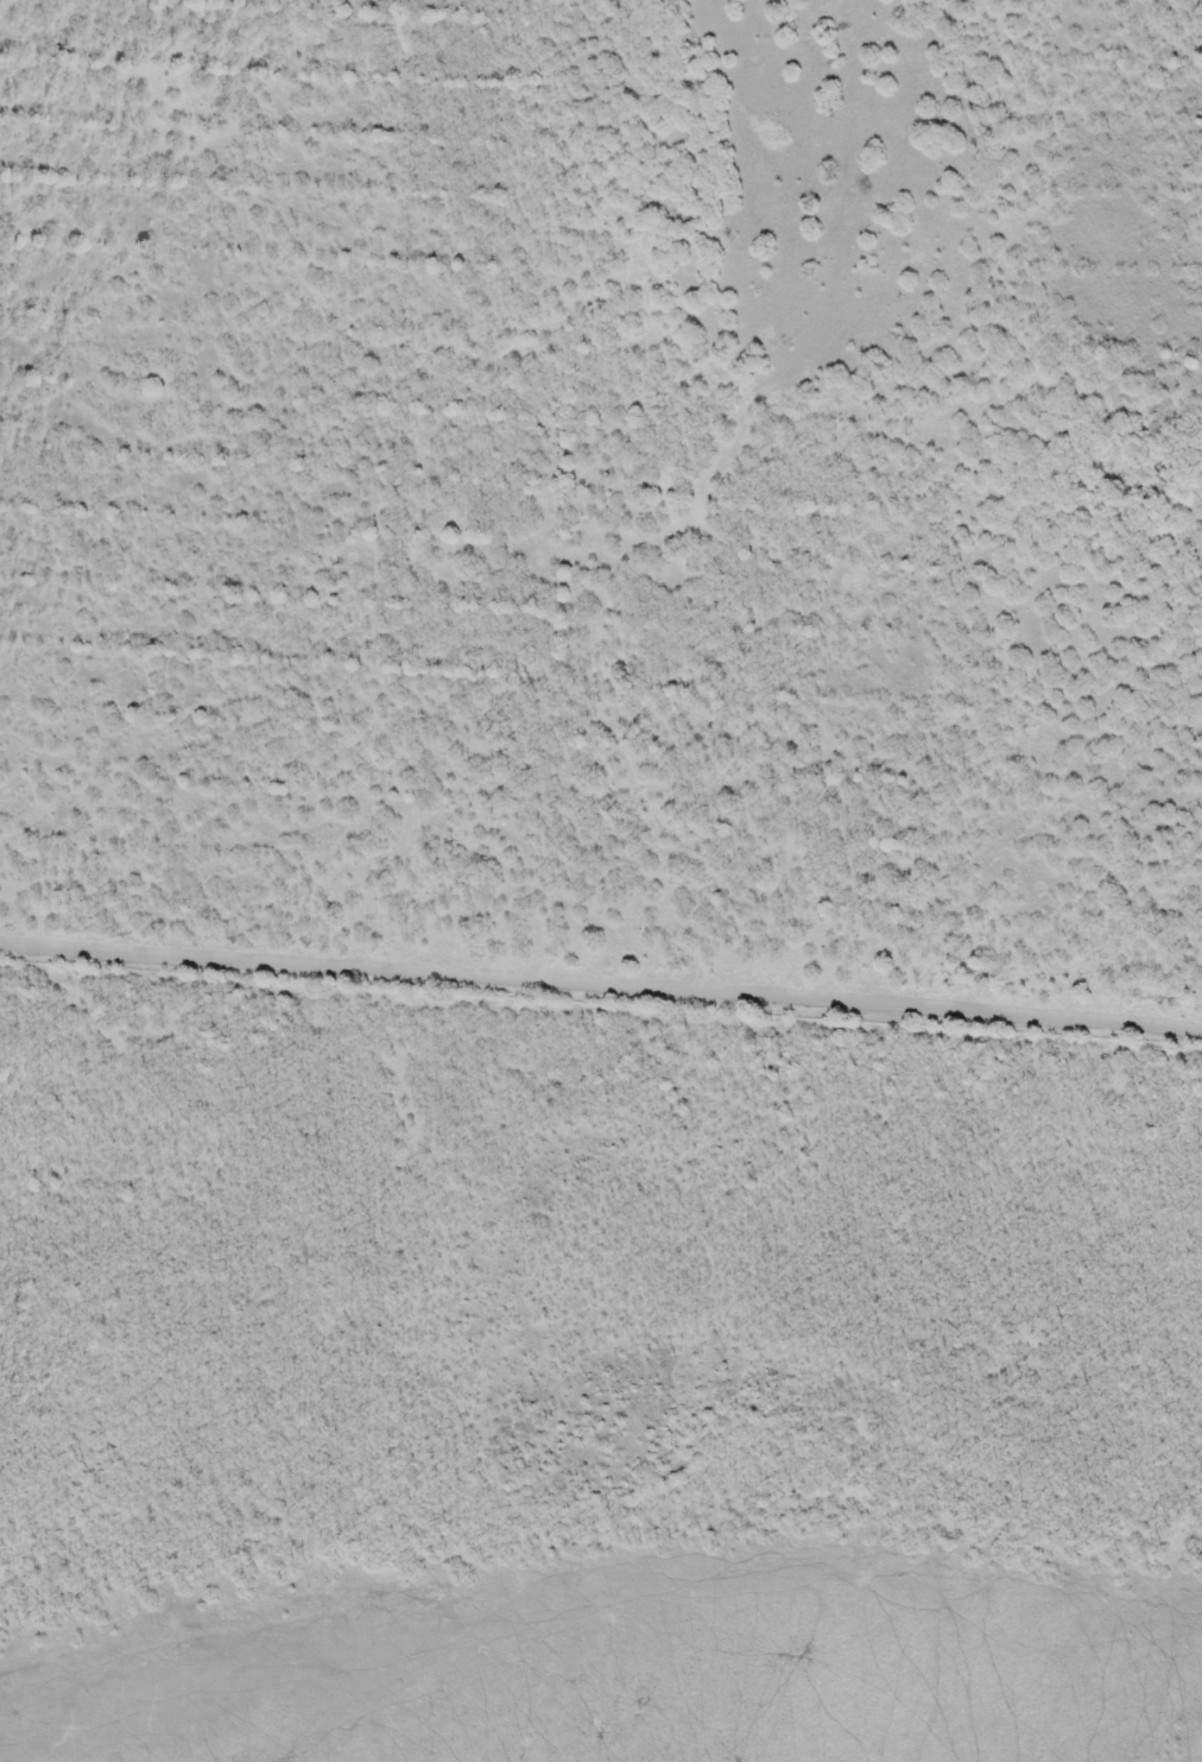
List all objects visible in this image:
road: (1025, 718)
road: (600, 1004)

